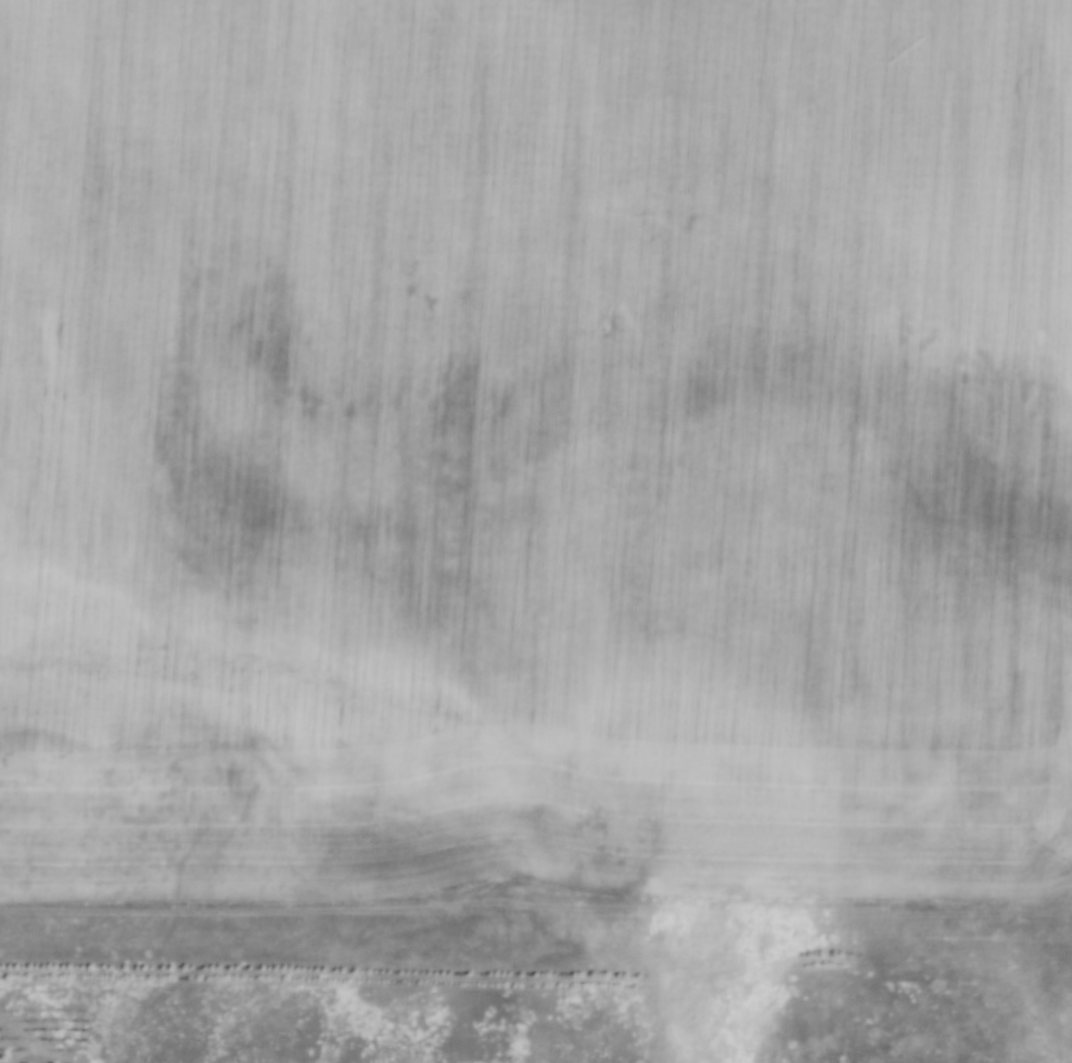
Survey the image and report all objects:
road: (536, 915)

